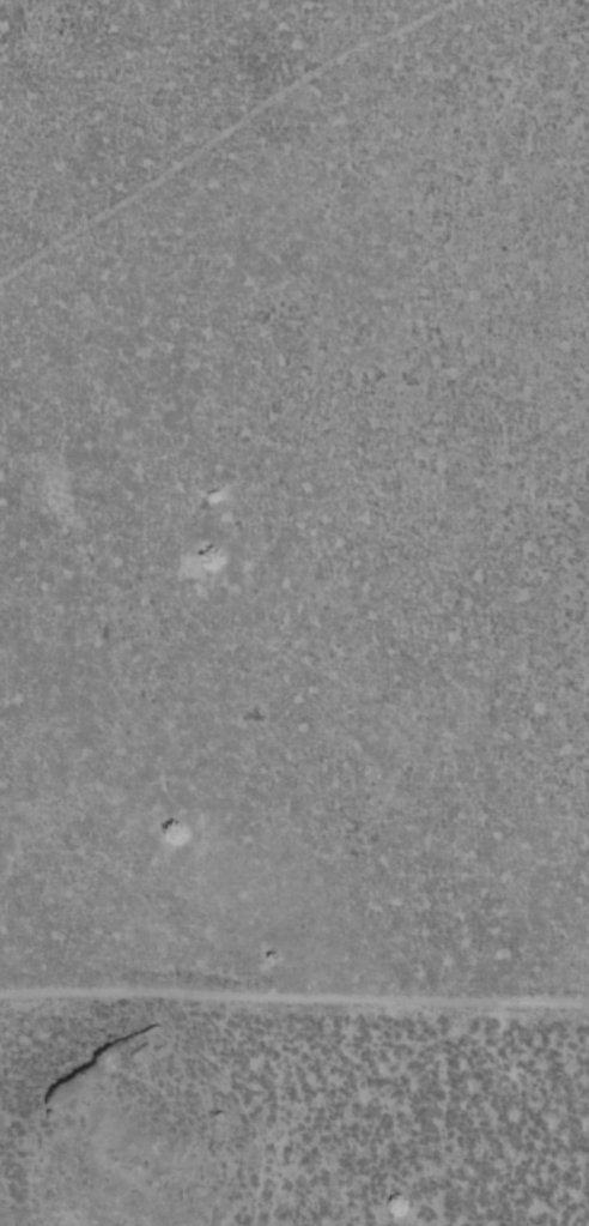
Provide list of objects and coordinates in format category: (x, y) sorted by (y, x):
road: (575, 612)
road: (293, 997)

